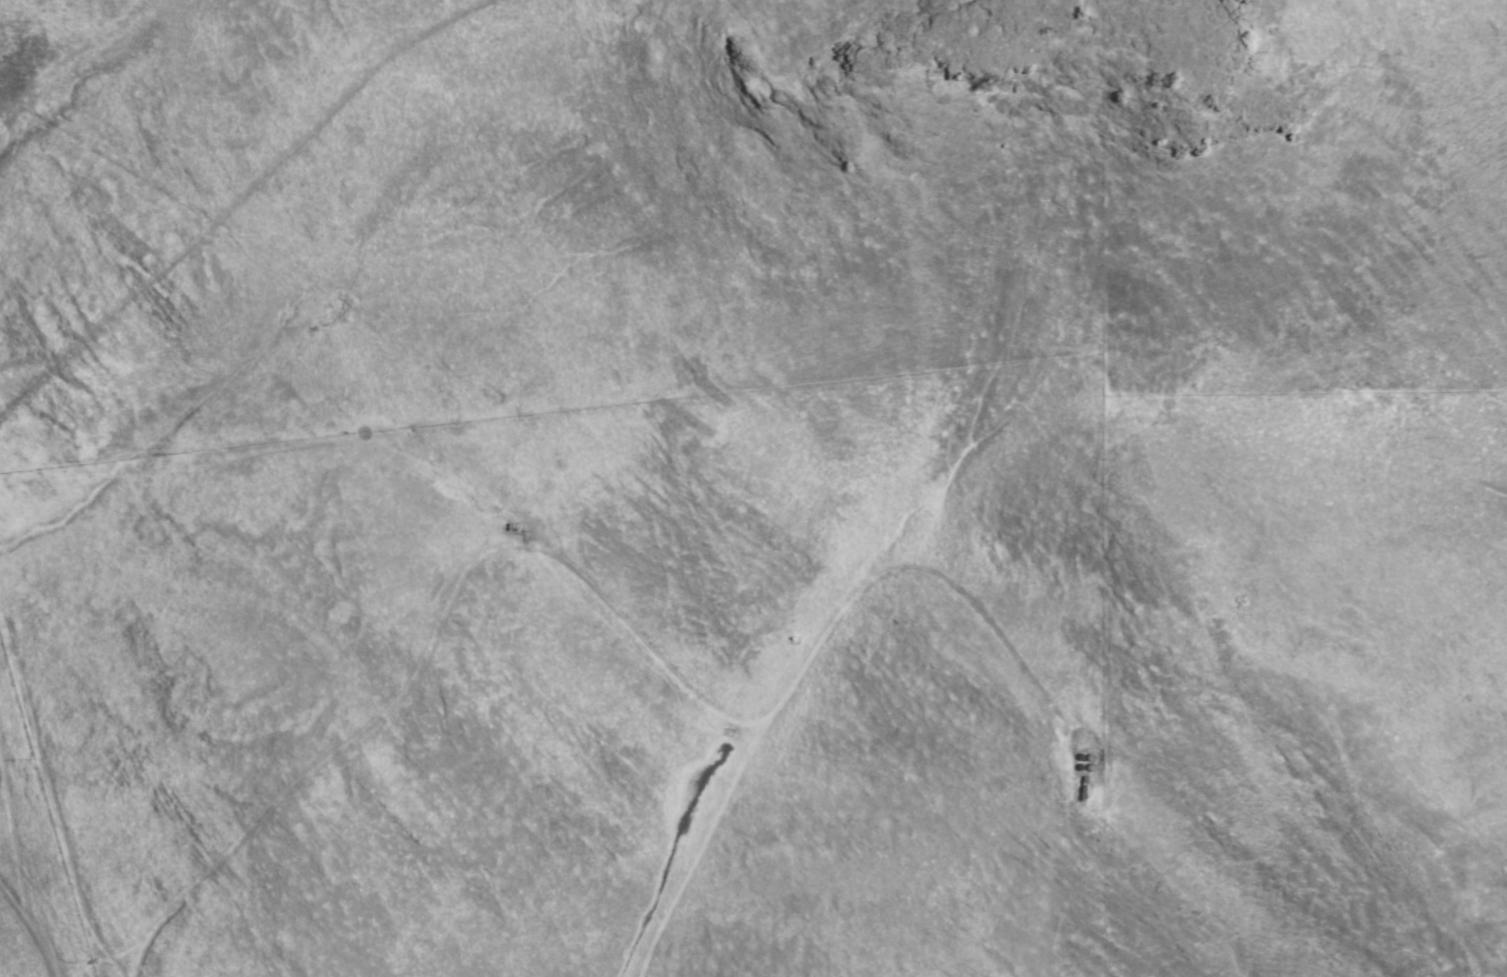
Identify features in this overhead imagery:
road: (24, 936)

